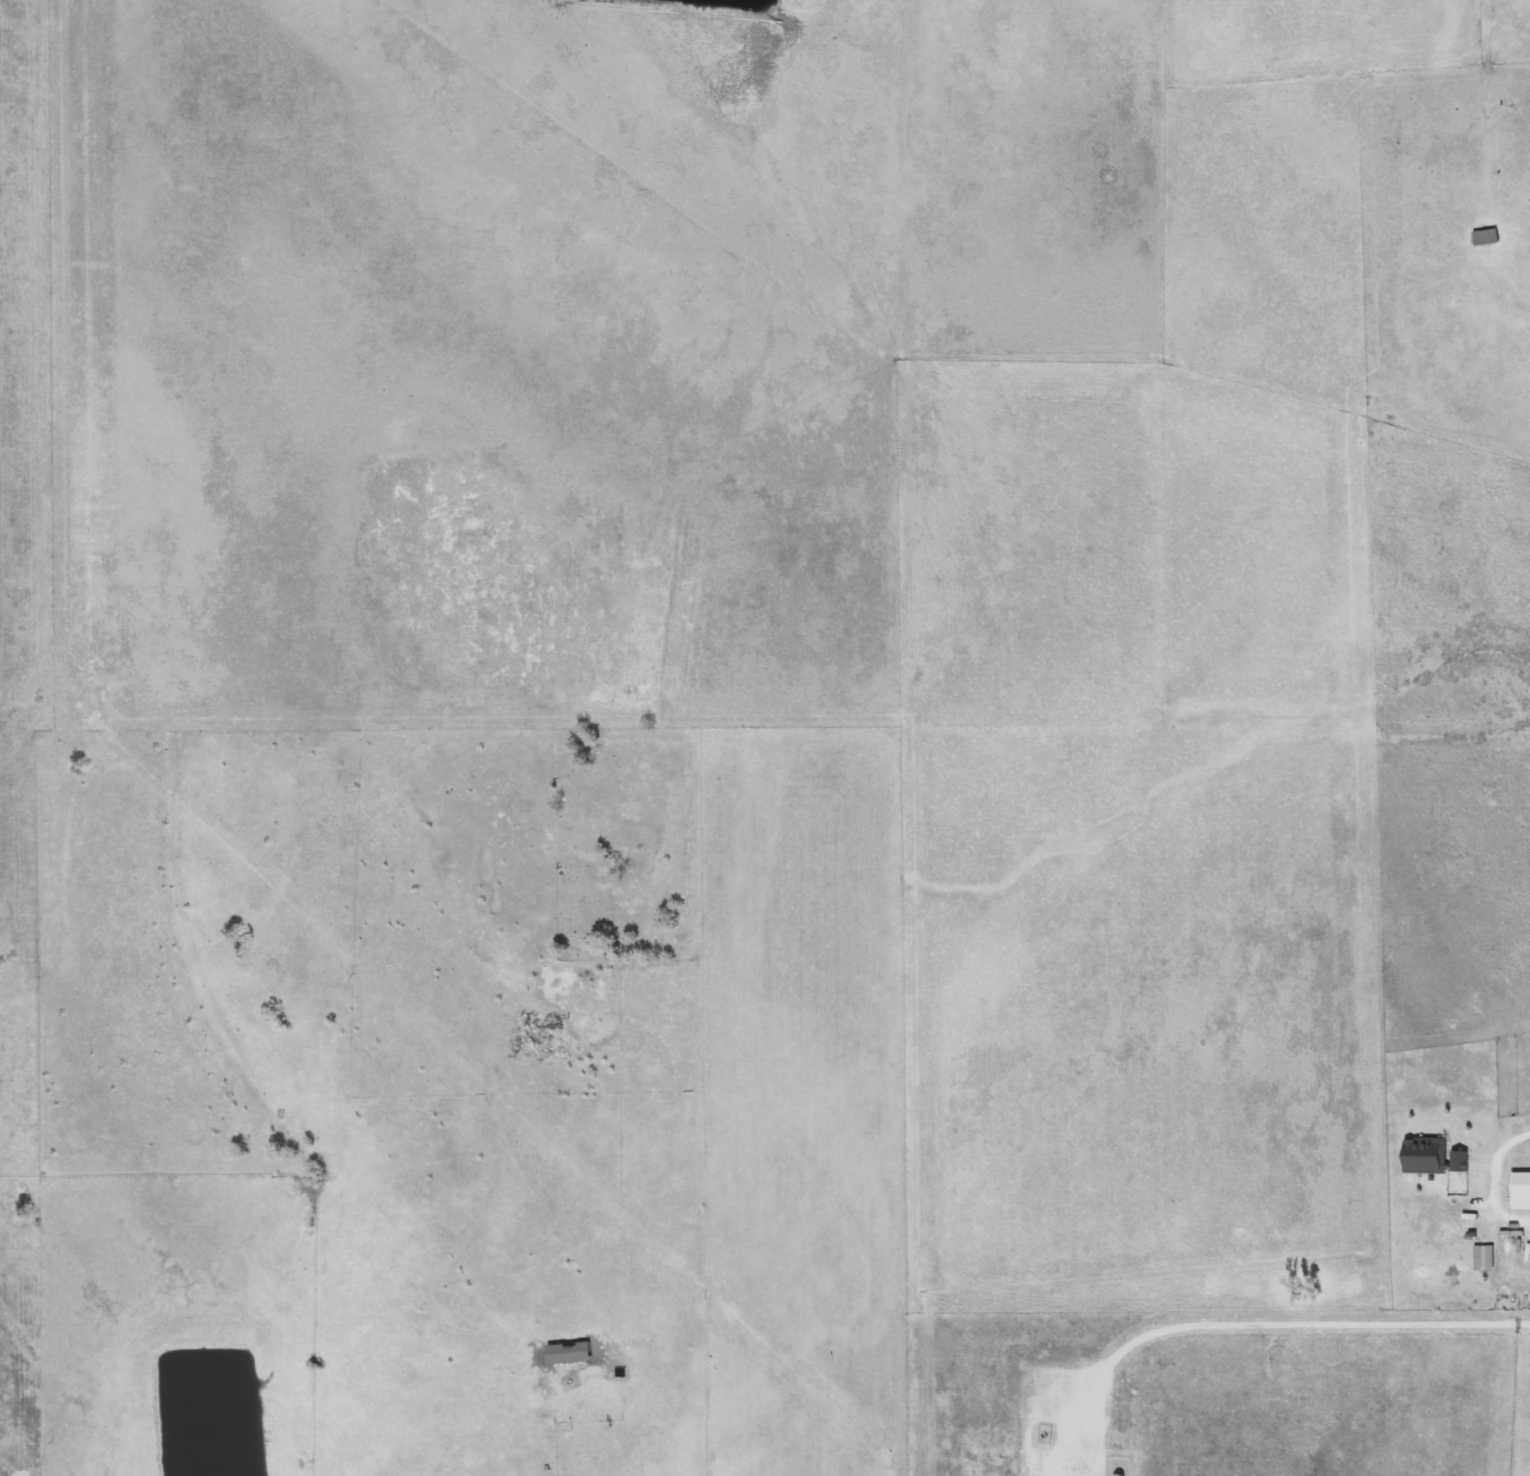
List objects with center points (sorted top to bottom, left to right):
building: (1480, 237)
road: (1501, 1146)
building: (1425, 1156)
building: (1516, 1192)
building: (1478, 1258)
road: (1289, 1328)
building: (576, 1353)
building: (580, 1400)

